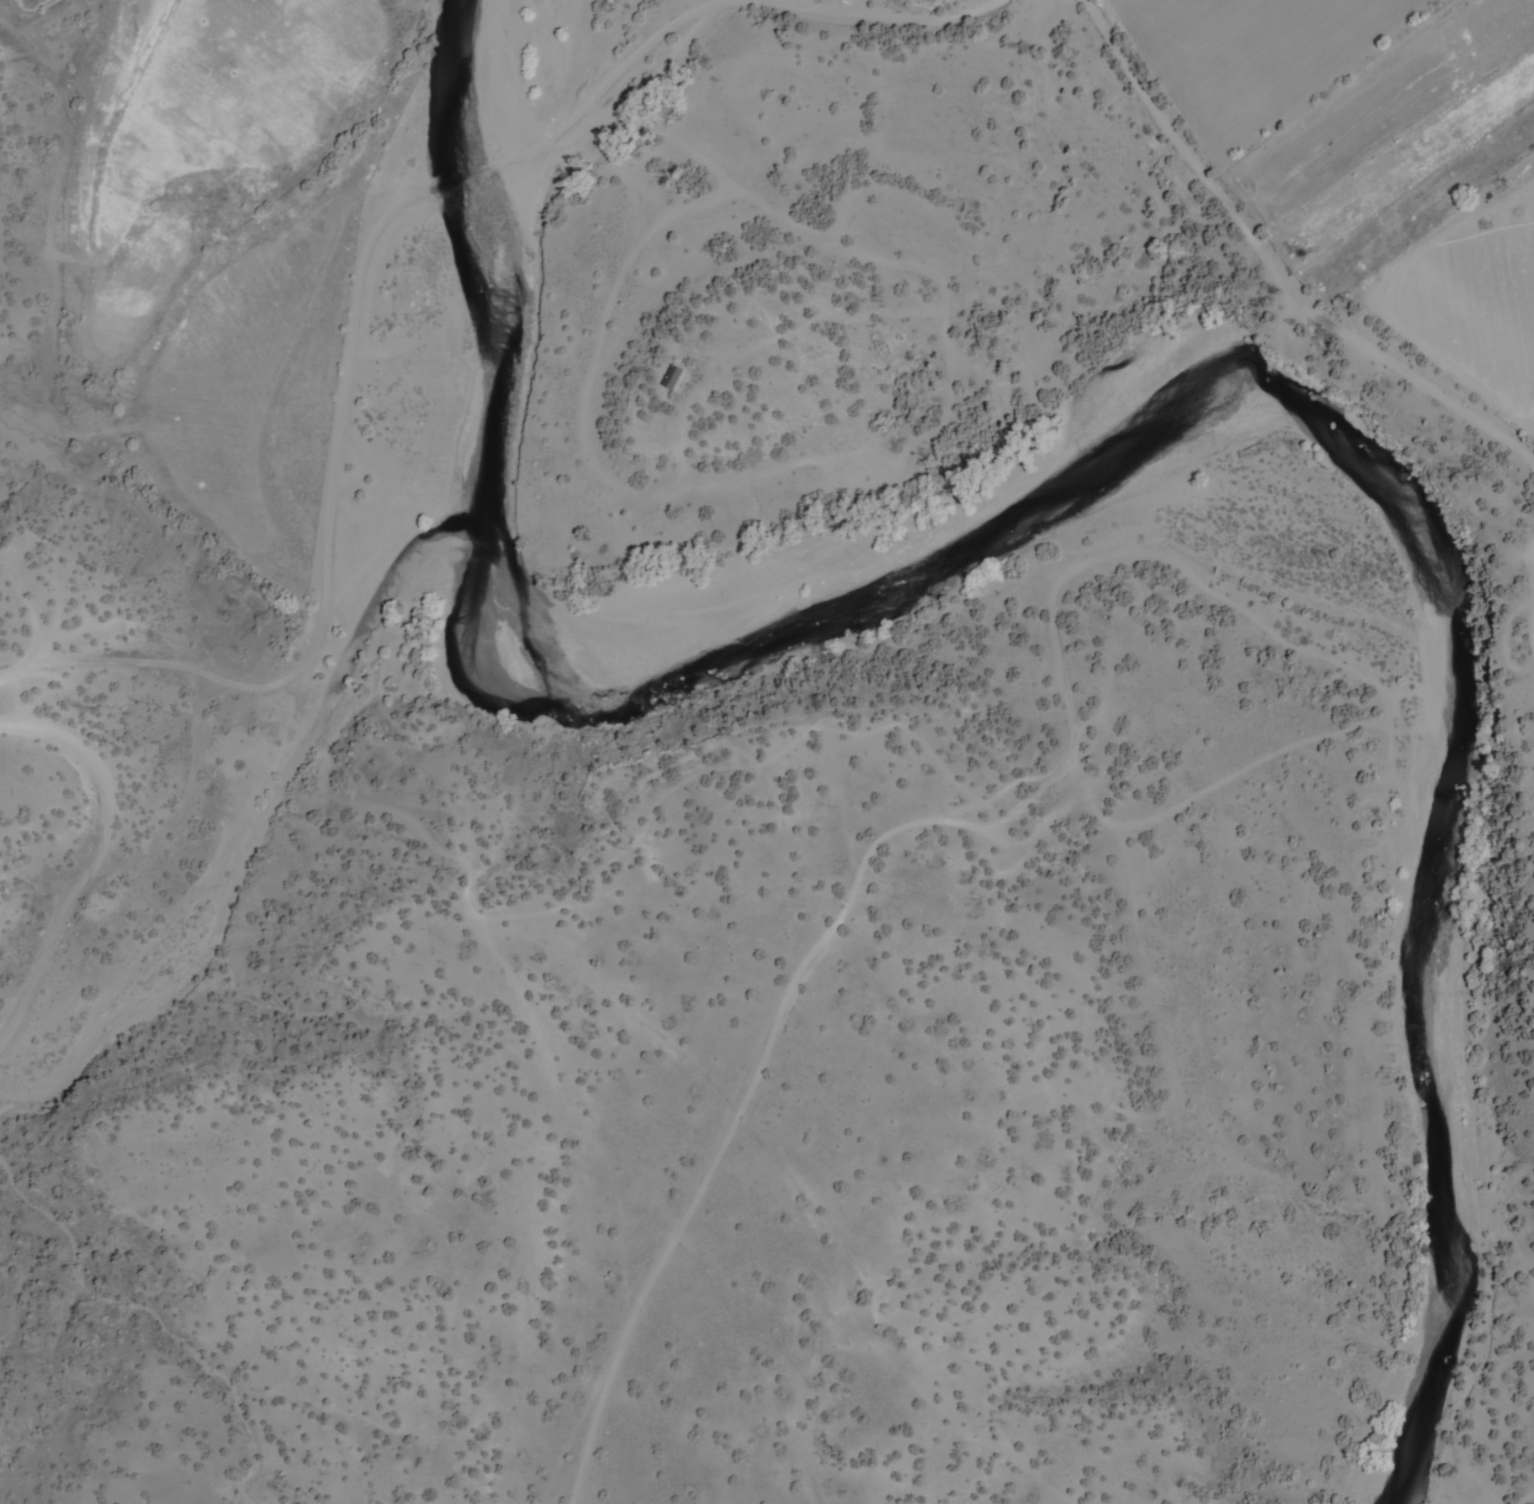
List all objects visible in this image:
road: (919, 8)
building: (677, 377)
river: (1109, 421)
road: (116, 832)
road: (758, 1036)

